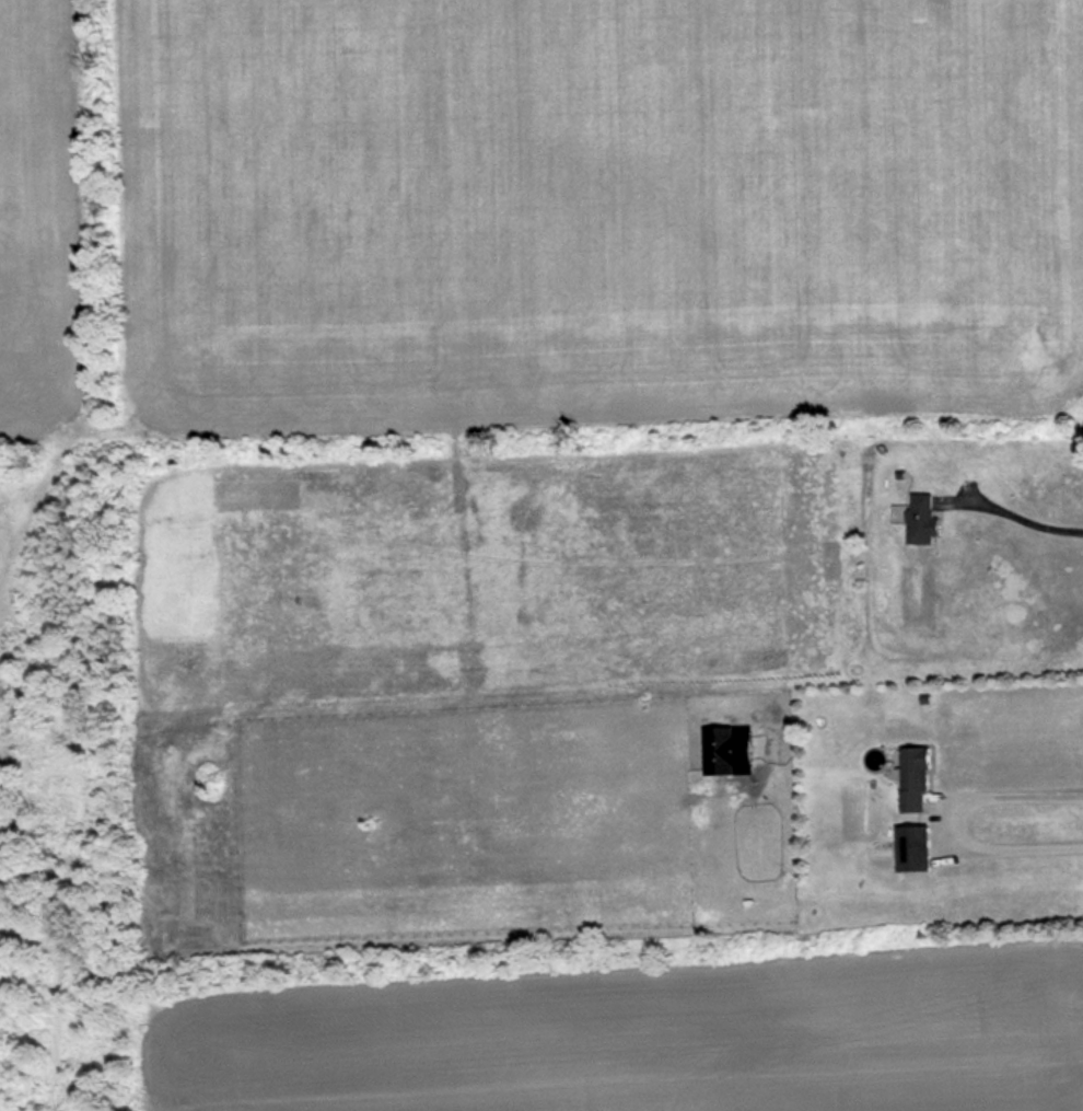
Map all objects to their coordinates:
road: (1020, 510)
building: (918, 518)
building: (911, 779)
road: (955, 821)
building: (909, 849)

